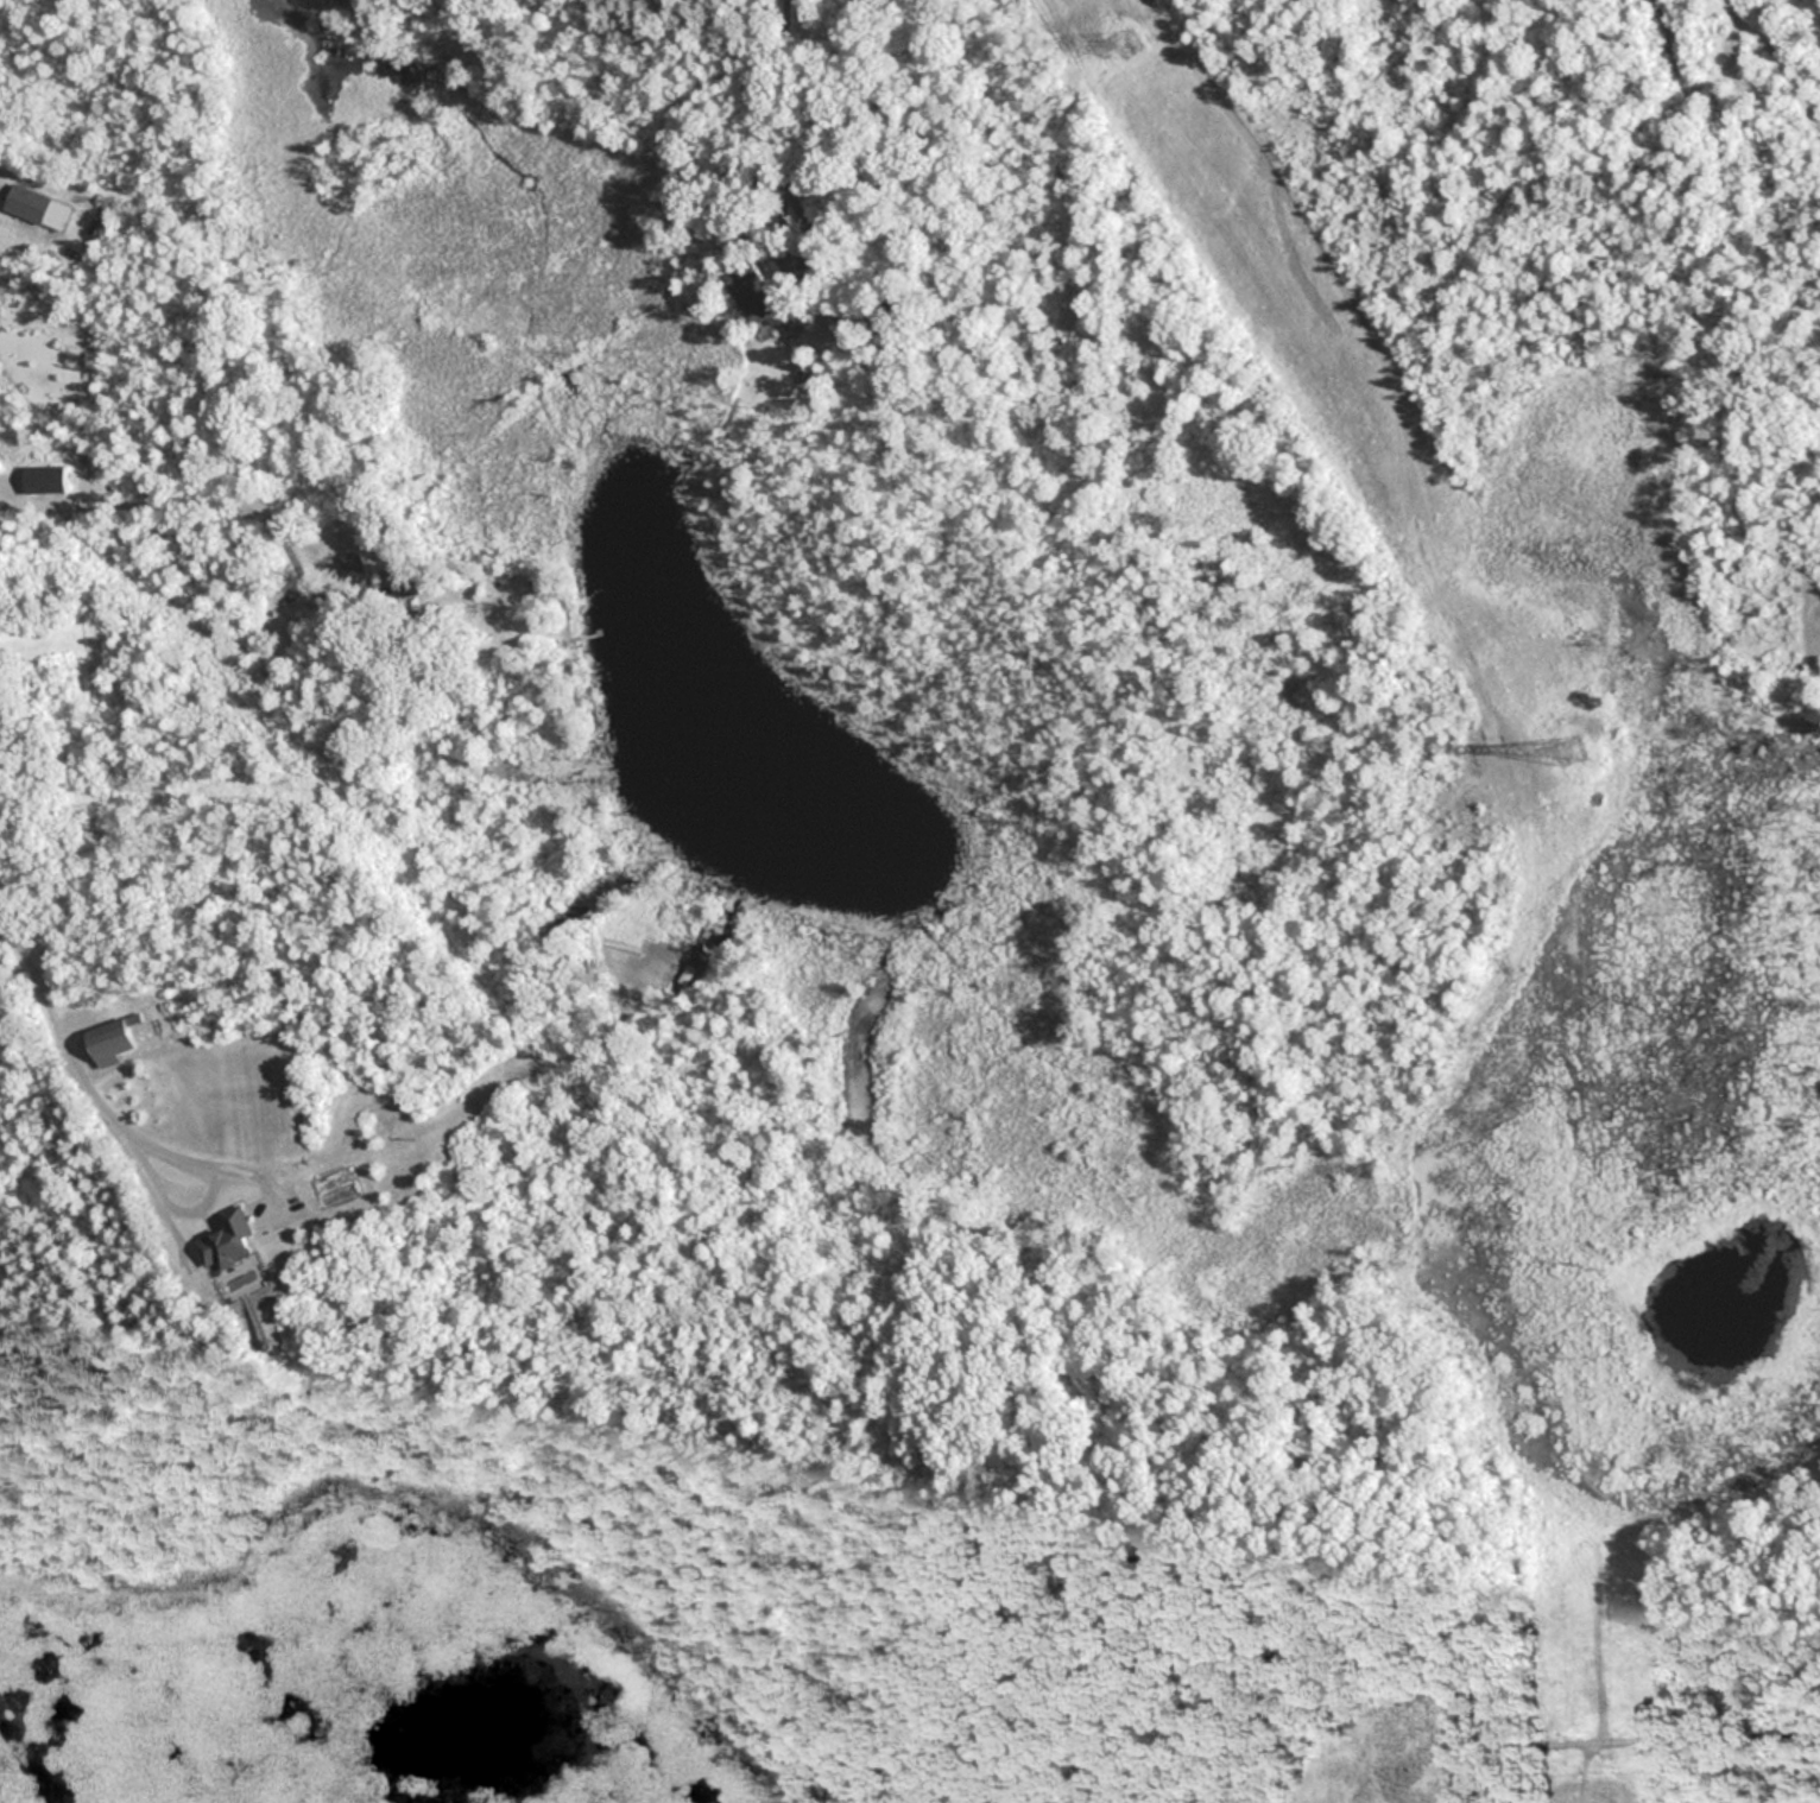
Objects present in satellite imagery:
power tower: (1129, 39)
road: (784, 101)
building: (25, 202)
building: (763, 298)
building: (42, 479)
road: (209, 501)
building: (349, 563)
building: (586, 646)
power tower: (1573, 748)
road: (75, 1077)
building: (228, 1240)
park: (1129, 1329)
road: (1455, 1696)

